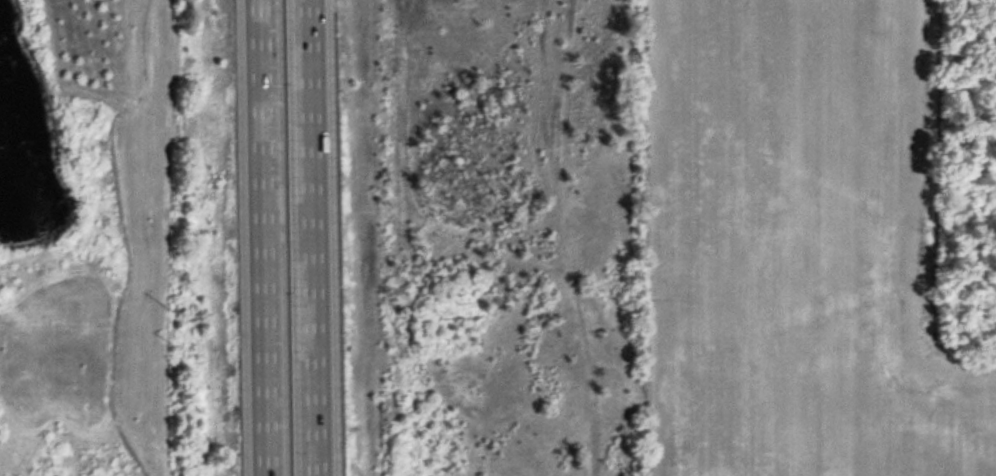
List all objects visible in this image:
road: (260, 238)
road: (315, 238)

